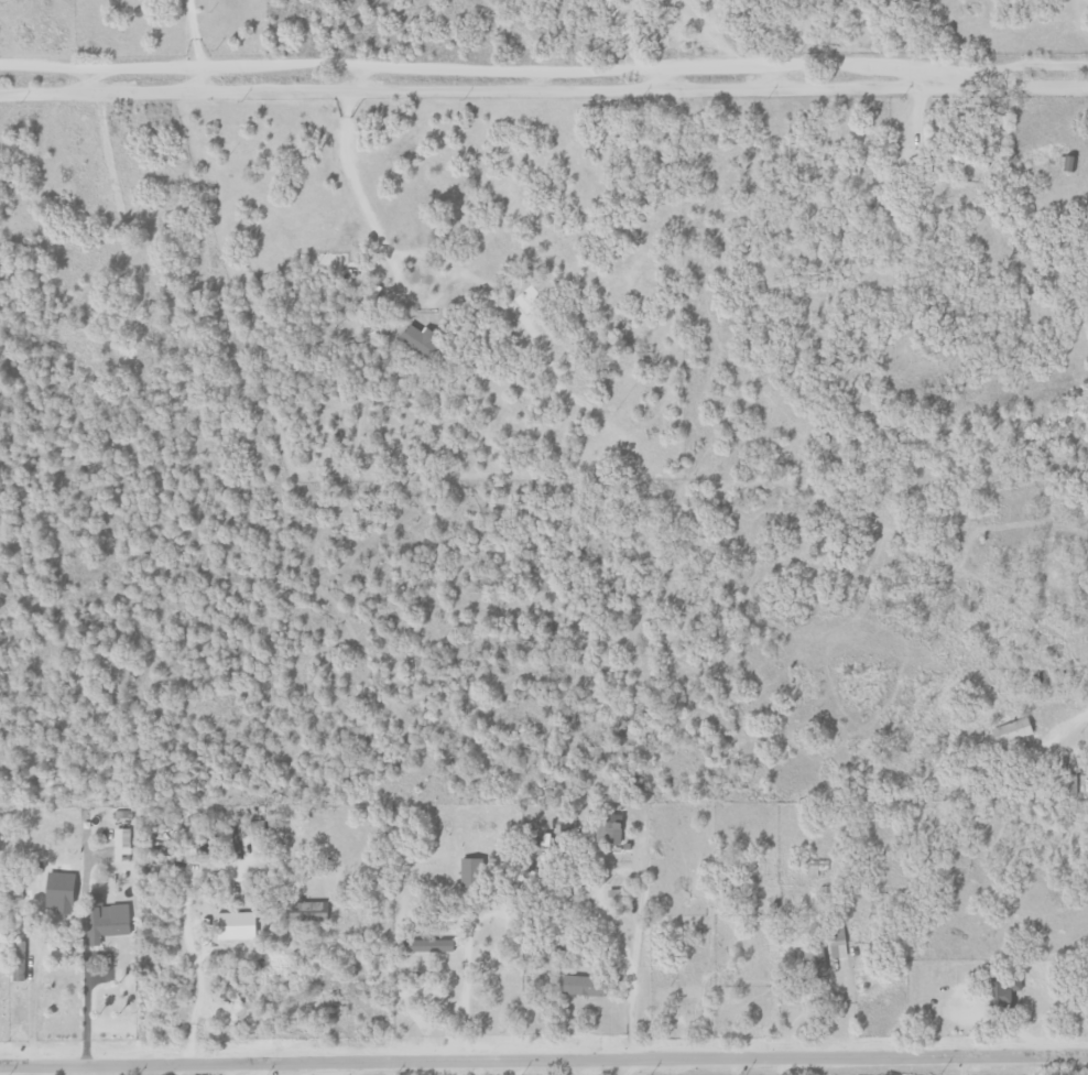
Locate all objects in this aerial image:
road: (187, 31)
road: (96, 67)
road: (640, 68)
road: (544, 82)
road: (359, 185)
building: (420, 338)
road: (1070, 717)
building: (1011, 731)
building: (1068, 783)
building: (613, 829)
building: (121, 836)
building: (541, 840)
building: (817, 868)
building: (467, 871)
building: (58, 891)
road: (602, 904)
building: (308, 911)
building: (104, 917)
building: (233, 925)
road: (469, 927)
building: (836, 941)
building: (425, 945)
road: (192, 949)
building: (814, 959)
road: (35, 969)
building: (581, 985)
building: (1003, 987)
road: (86, 1016)
road: (414, 1018)
road: (543, 1061)
road: (961, 1065)
road: (630, 1066)
road: (799, 1066)

